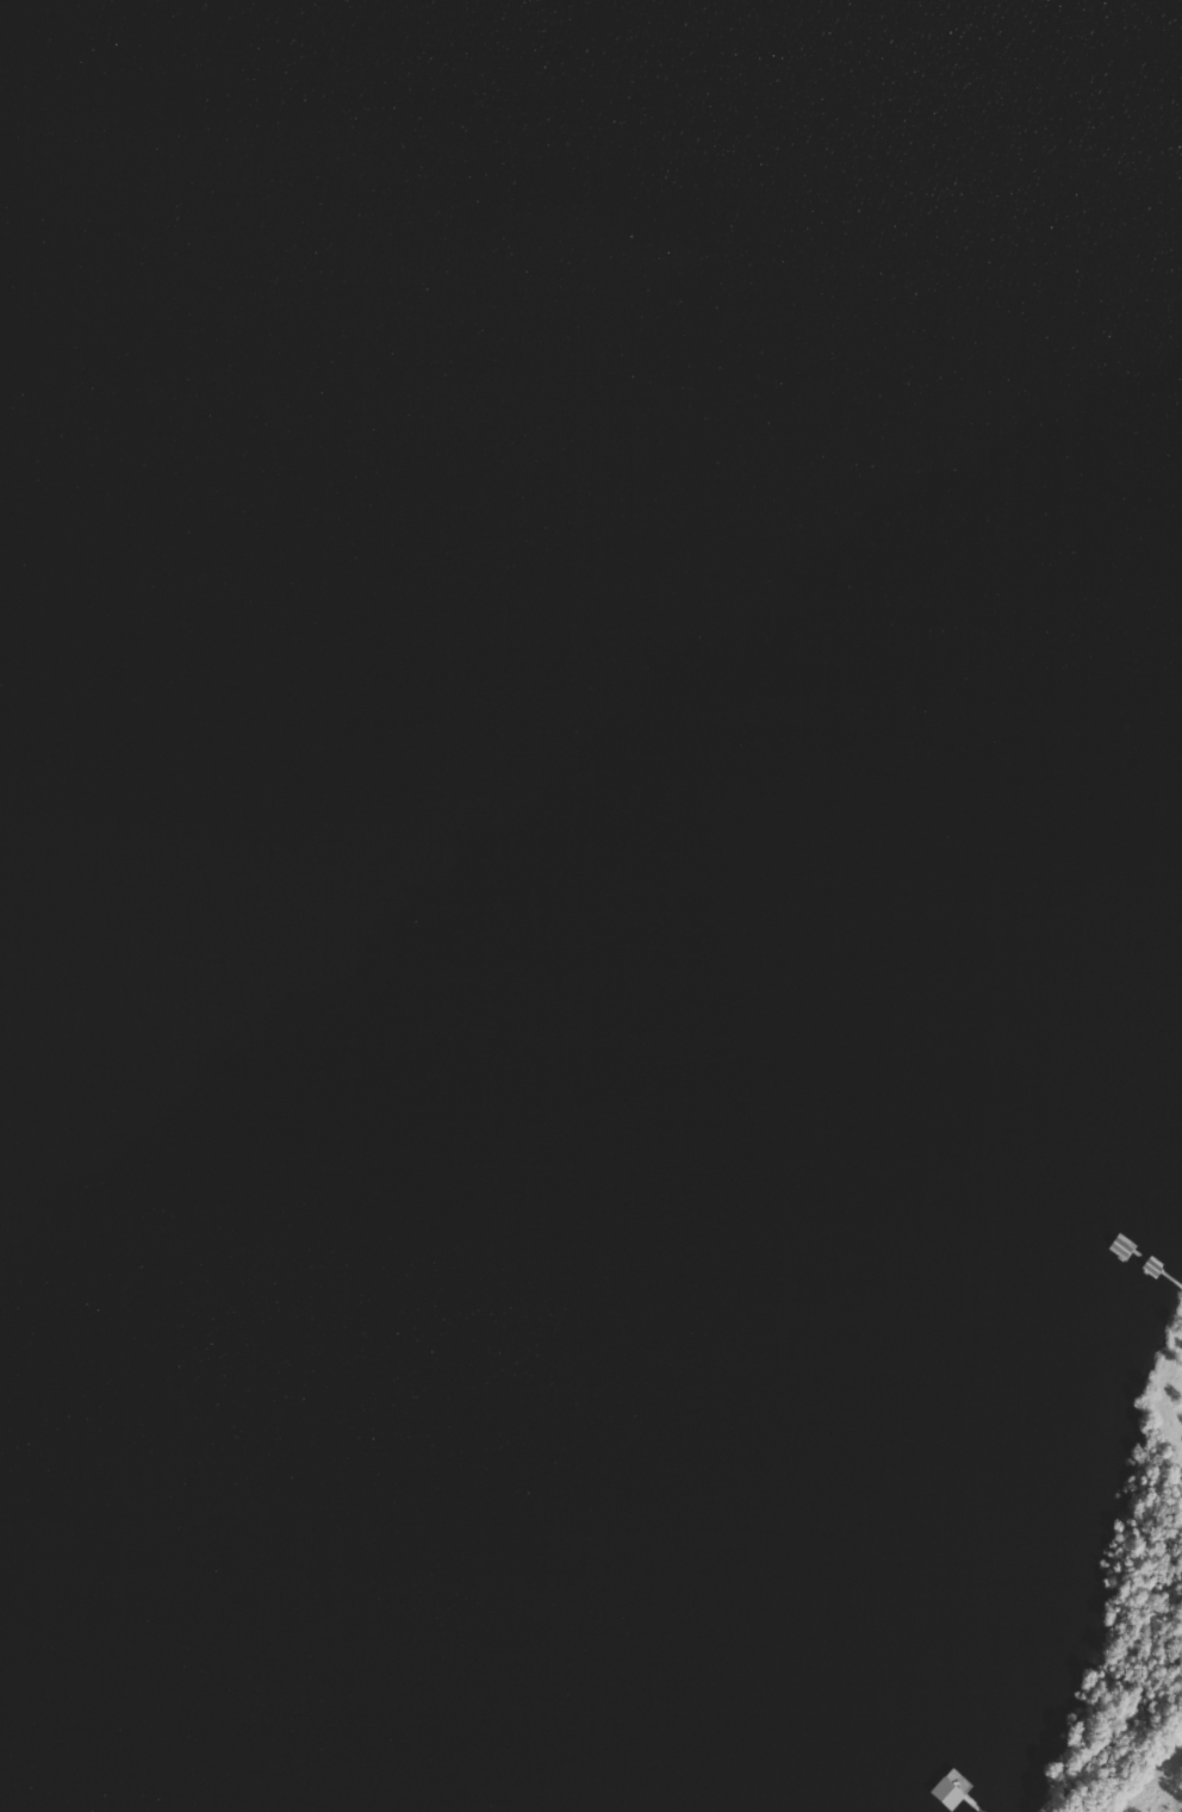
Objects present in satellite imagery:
building: (1152, 1268)

